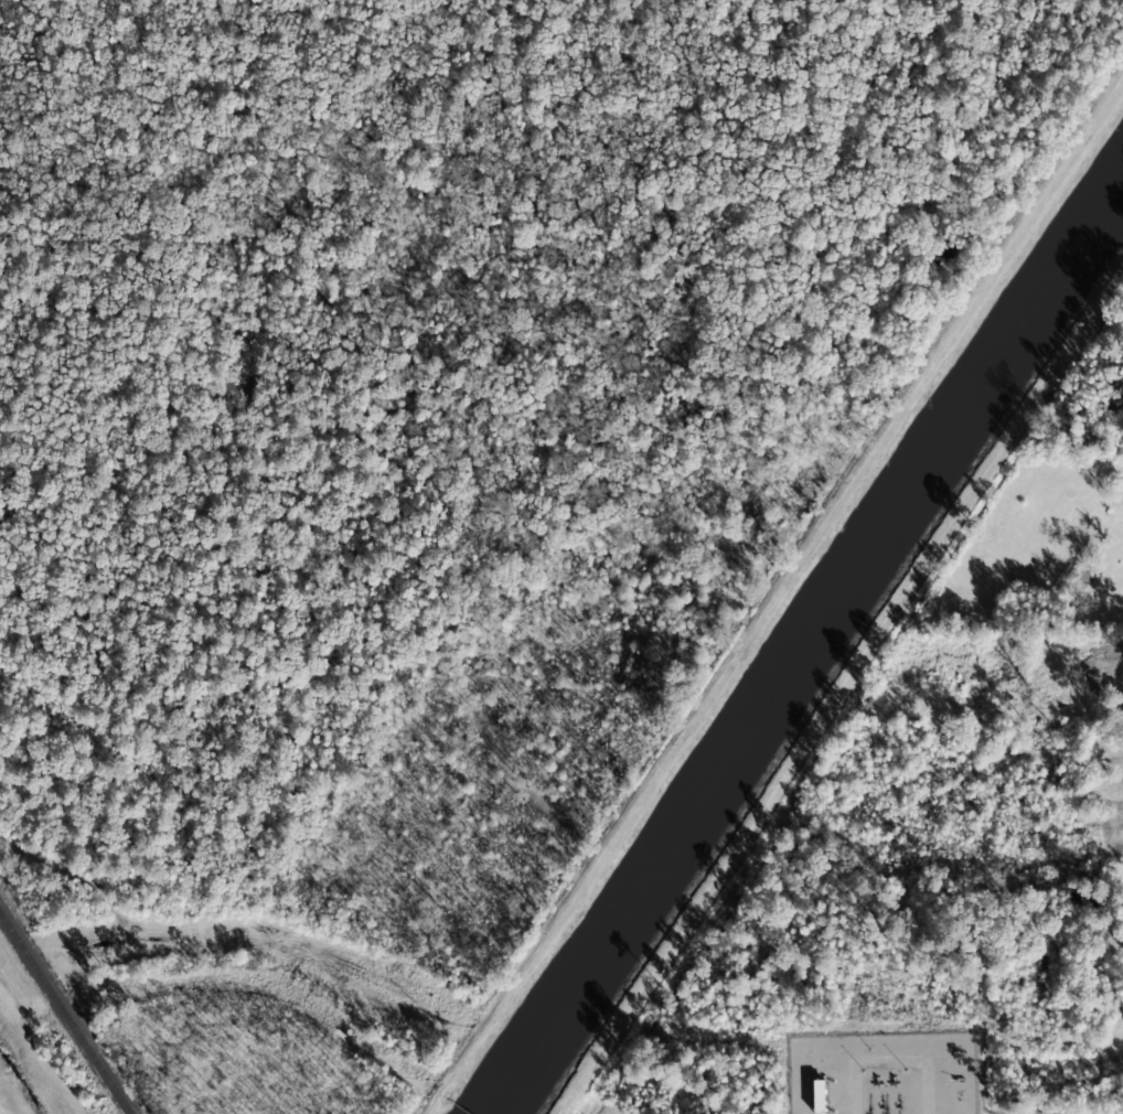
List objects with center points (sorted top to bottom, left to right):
railway: (64, 1014)

